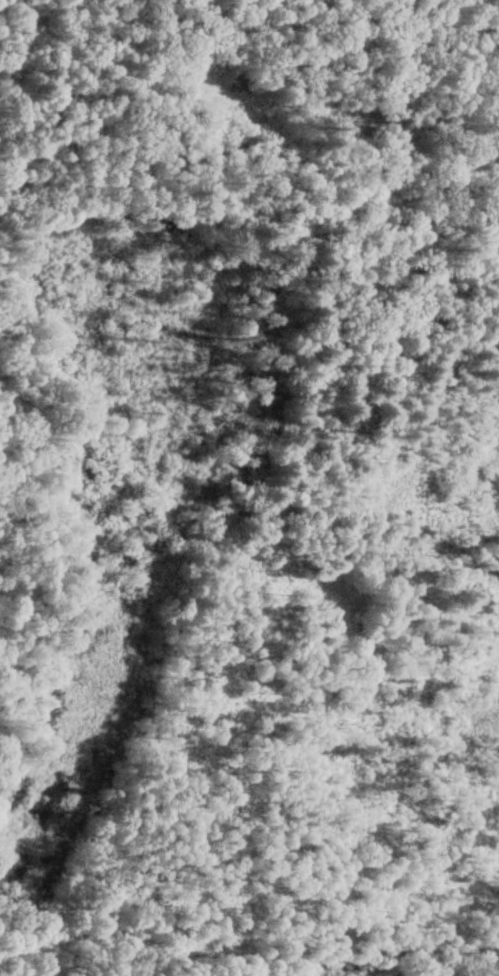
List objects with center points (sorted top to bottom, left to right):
road: (19, 17)
road: (249, 949)

